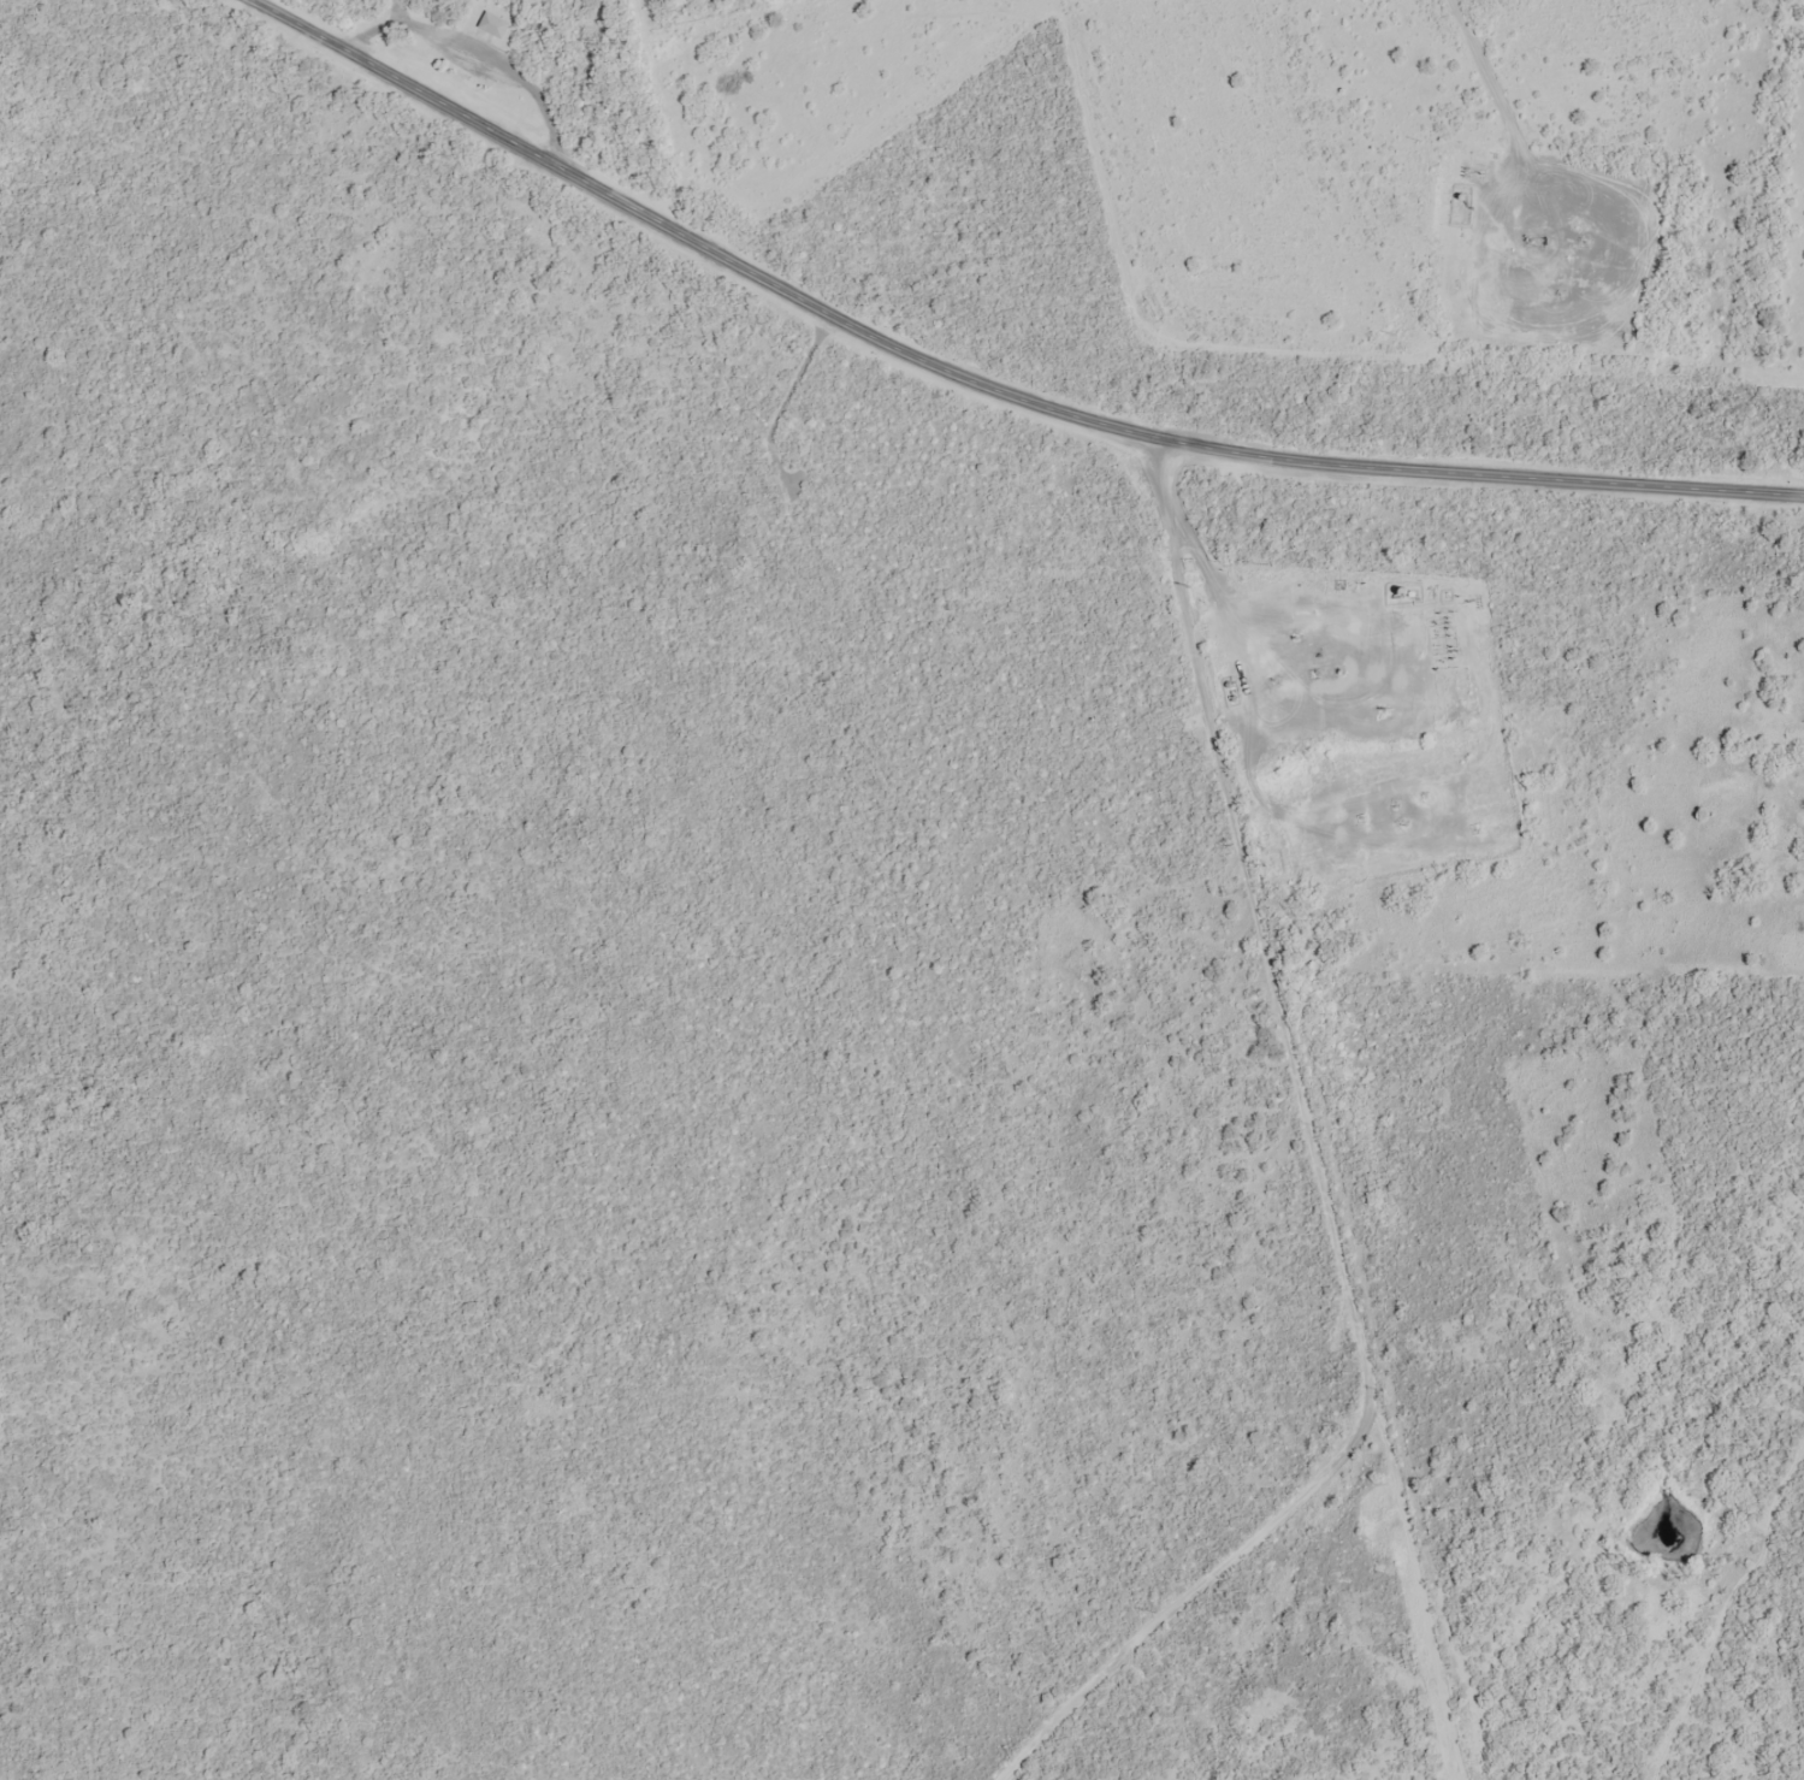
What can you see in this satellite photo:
road: (693, 242)
road: (1480, 467)
road: (1232, 1163)

